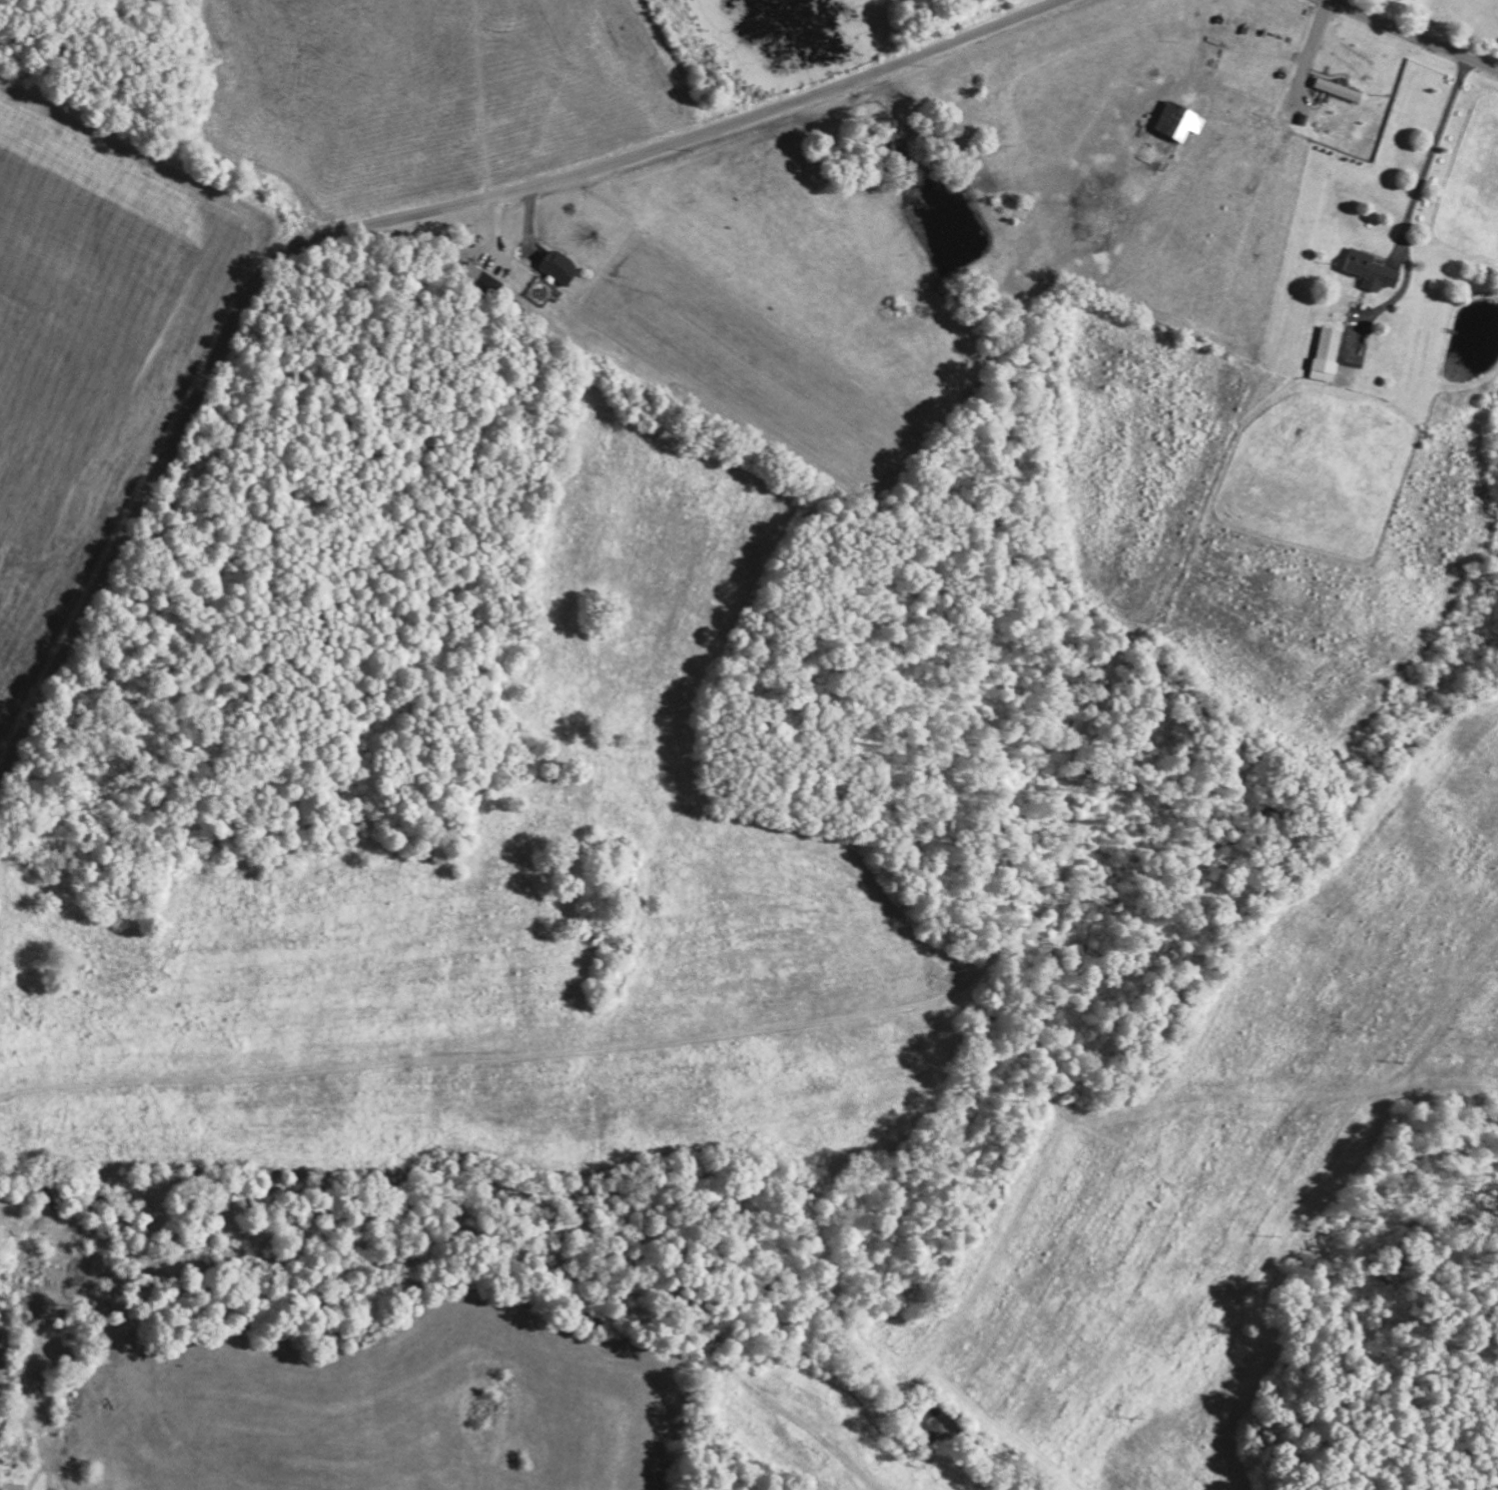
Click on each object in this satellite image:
road: (1412, 35)
building: (1339, 88)
road: (704, 106)
building: (1178, 120)
building: (560, 266)
building: (1371, 269)
building: (1329, 353)
road: (169, 446)

